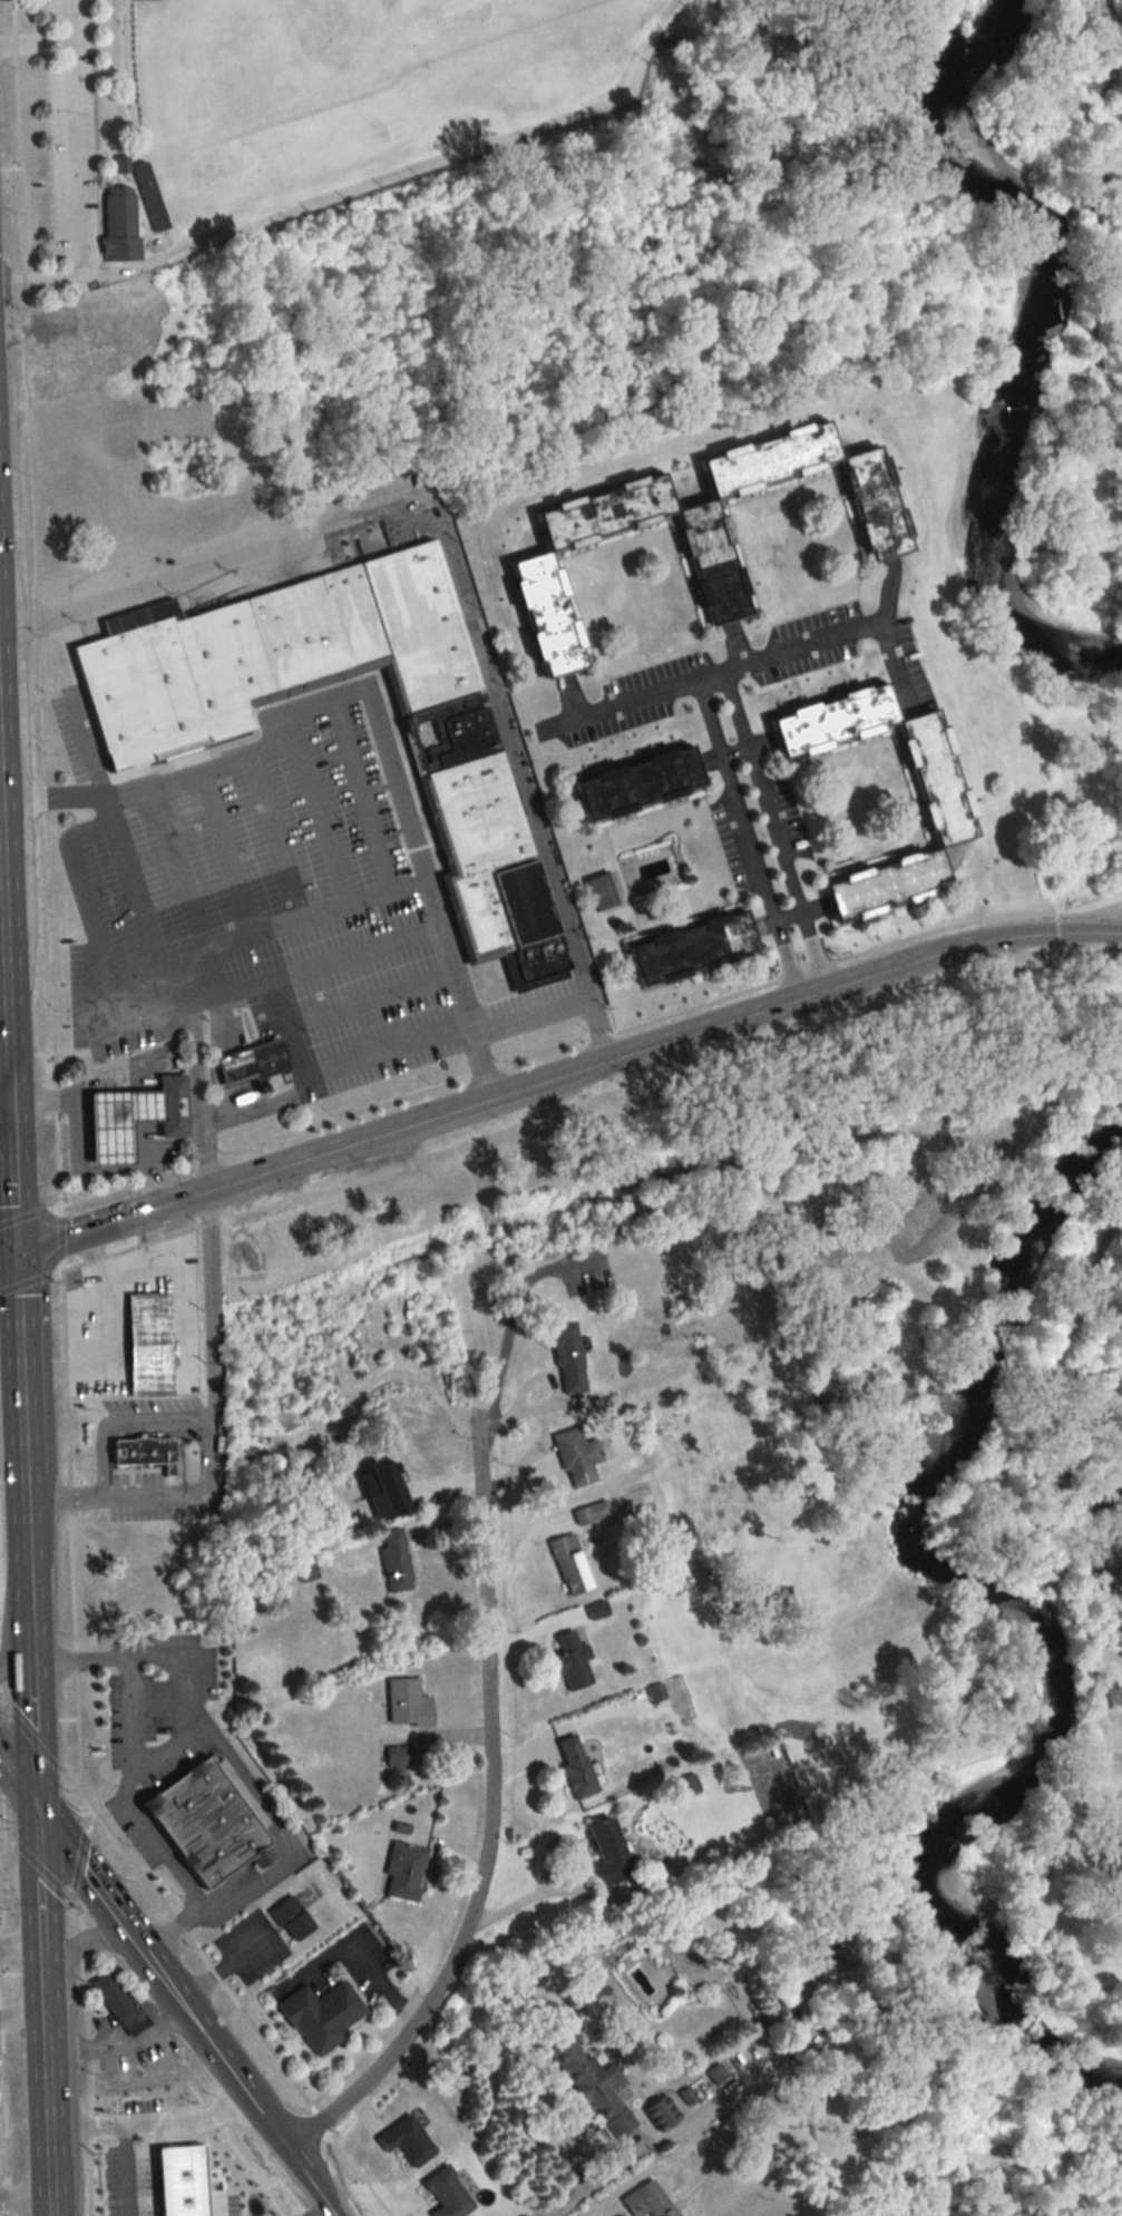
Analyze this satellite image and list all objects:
road: (1111, 19)
road: (37, 41)
road: (79, 182)
building: (120, 223)
road: (1092, 326)
river: (1032, 331)
building: (74, 362)
building: (679, 535)
road: (449, 565)
road: (753, 657)
road: (709, 672)
road: (89, 749)
road: (734, 749)
building: (455, 764)
road: (202, 768)
building: (632, 783)
road: (363, 793)
building: (928, 794)
road: (320, 808)
road: (281, 834)
road: (231, 850)
road: (183, 866)
road: (133, 882)
road: (85, 887)
road: (431, 889)
building: (595, 891)
road: (2, 899)
road: (1087, 904)
road: (787, 914)
road: (271, 929)
road: (1055, 934)
road: (1113, 934)
building: (685, 948)
road: (3, 955)
road: (1054, 957)
road: (7, 973)
road: (262, 980)
road: (808, 984)
road: (370, 998)
road: (529, 1012)
road: (552, 1045)
road: (384, 1047)
road: (6, 1058)
building: (246, 1063)
road: (554, 1074)
road: (77, 1083)
road: (303, 1093)
road: (6, 1097)
building: (167, 1104)
building: (110, 1122)
road: (7, 1144)
road: (87, 1171)
road: (14, 1182)
road: (29, 1214)
road: (13, 1237)
road: (58, 1237)
road: (136, 1244)
traffic signals: (13, 1253)
road: (30, 1281)
road: (207, 1337)
building: (144, 1344)
building: (563, 1359)
road: (9, 1367)
road: (153, 1423)
road: (20, 1435)
building: (139, 1451)
building: (574, 1456)
road: (101, 1463)
road: (117, 1491)
building: (588, 1513)
road: (68, 1529)
building: (392, 1561)
building: (567, 1564)
building: (304, 1573)
road: (1066, 1605)
building: (594, 1610)
park: (1062, 1623)
river: (1018, 1631)
road: (14, 1643)
road: (1104, 1650)
building: (568, 1662)
building: (403, 1704)
road: (31, 1714)
road: (133, 1716)
road: (174, 1746)
building: (392, 1756)
building: (572, 1766)
building: (687, 1783)
road: (17, 1785)
traffic signals: (35, 1809)
road: (487, 1816)
building: (211, 1820)
road: (283, 1829)
building: (603, 1852)
building: (399, 1873)
road: (19, 1880)
road: (38, 1895)
building: (292, 1919)
road: (20, 1943)
road: (77, 1945)
road: (355, 1953)
road: (149, 1965)
road: (227, 1992)
building: (115, 1998)
building: (322, 2015)
road: (21, 2017)
road: (116, 2044)
building: (714, 2072)
building: (592, 2085)
road: (45, 2098)
building: (657, 2111)
road: (148, 2126)
building: (937, 2127)
building: (402, 2140)
road: (297, 2169)
road: (123, 2171)
road: (594, 2181)
building: (644, 2200)
road: (25, 2207)
road: (319, 2212)

